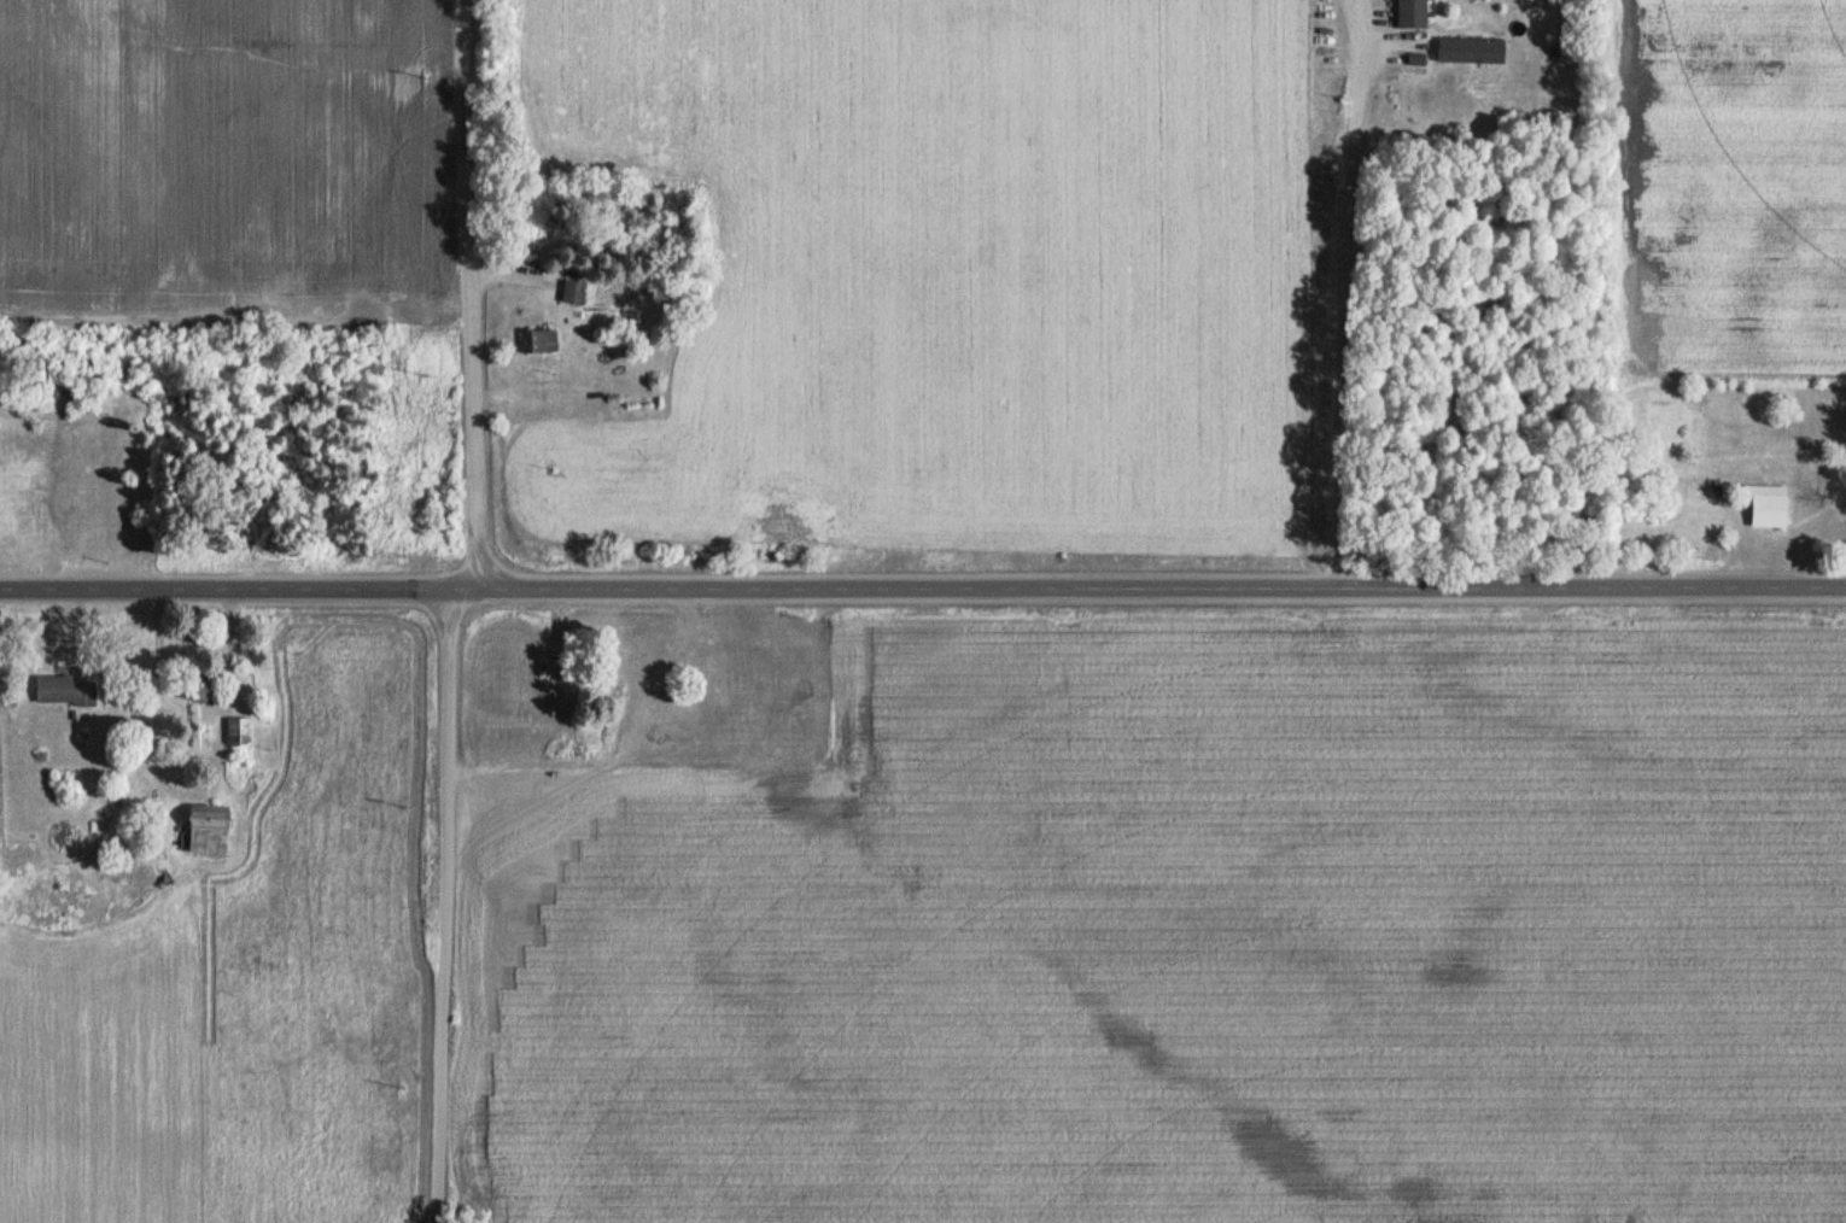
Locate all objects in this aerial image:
building: (1412, 13)
building: (1470, 49)
building: (573, 292)
road: (1339, 318)
building: (539, 340)
building: (1766, 510)
road: (922, 581)
road: (449, 603)
building: (199, 687)
building: (65, 690)
building: (239, 732)
building: (208, 829)
building: (152, 830)

